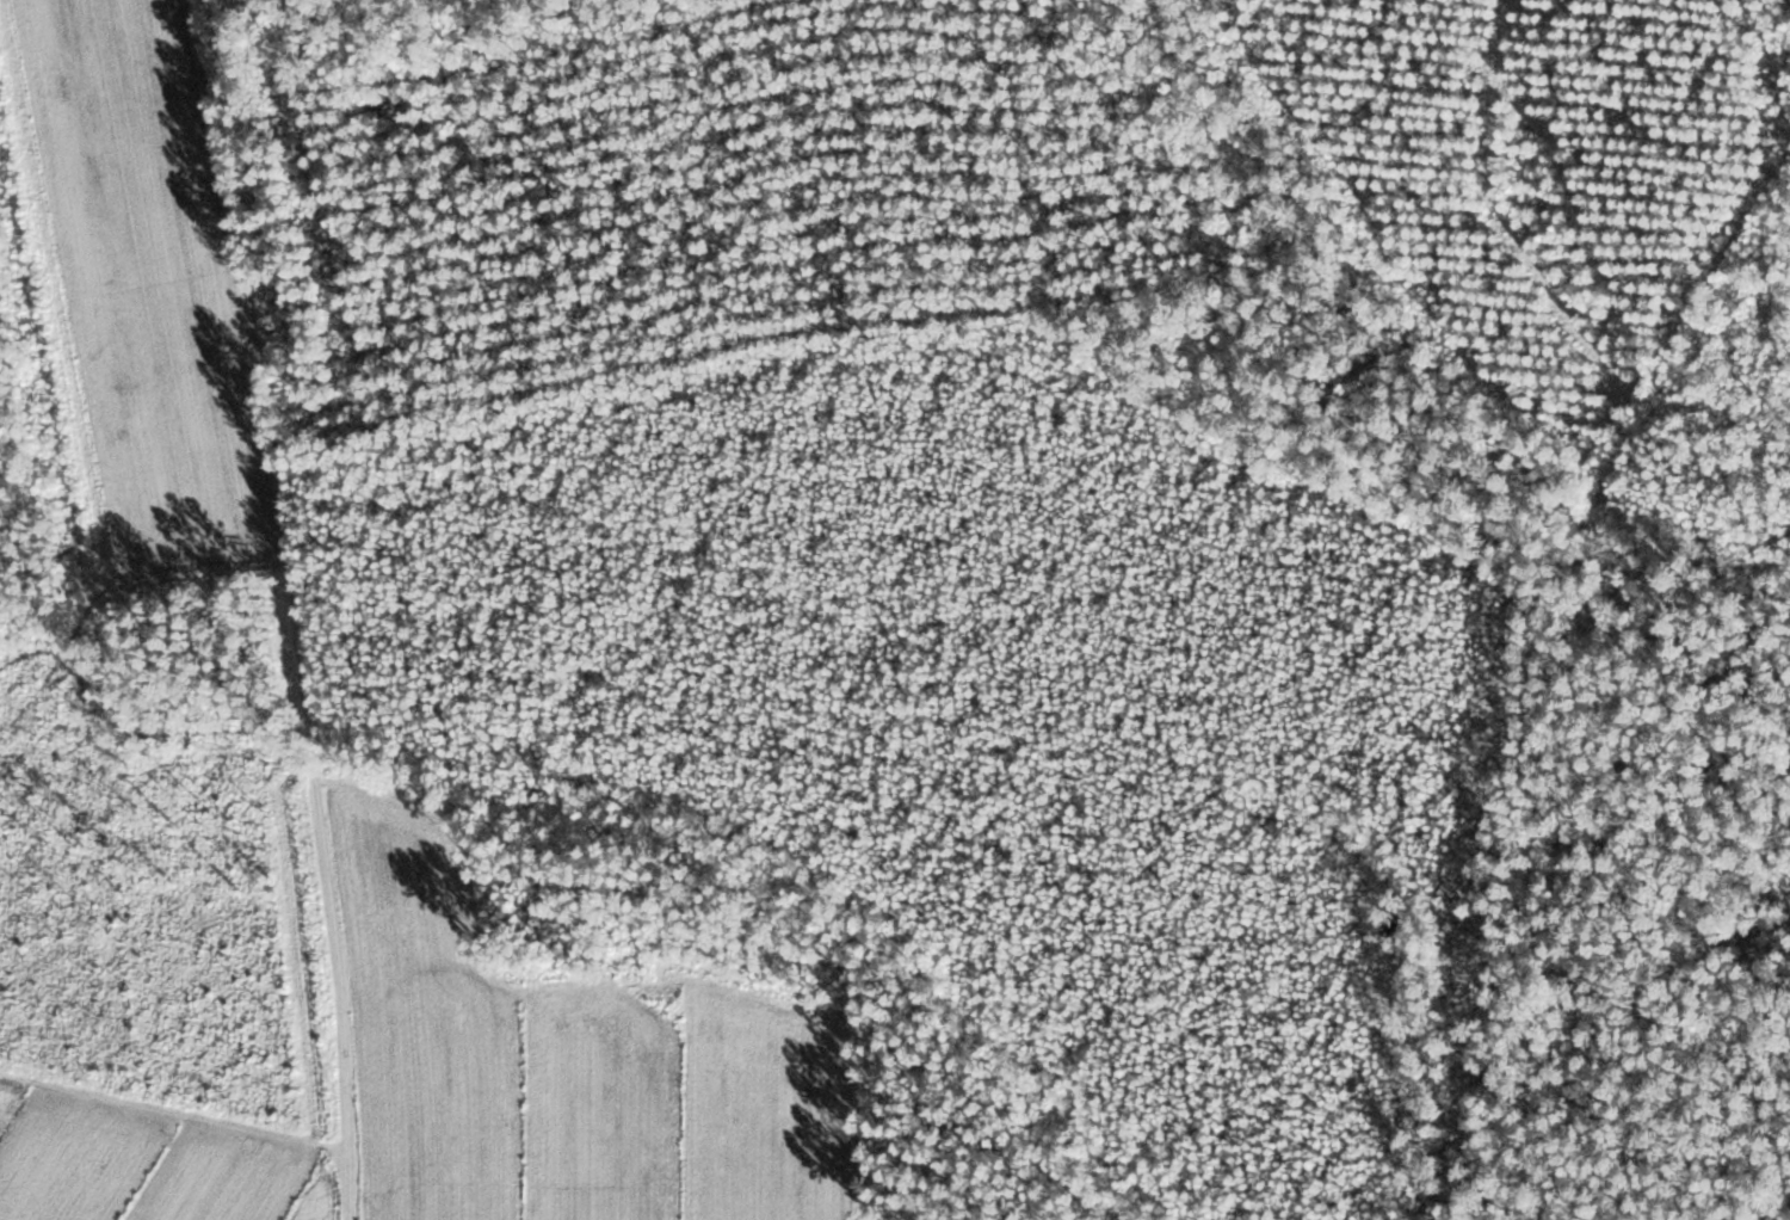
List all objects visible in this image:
road: (246, 608)

